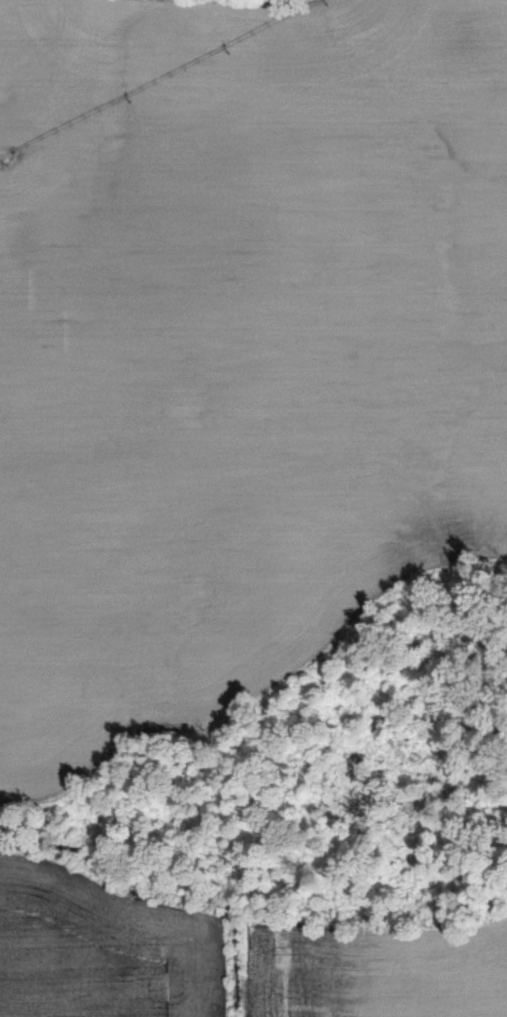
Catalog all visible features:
crop: (236, 349)
crop: (104, 949)
crop: (376, 970)

